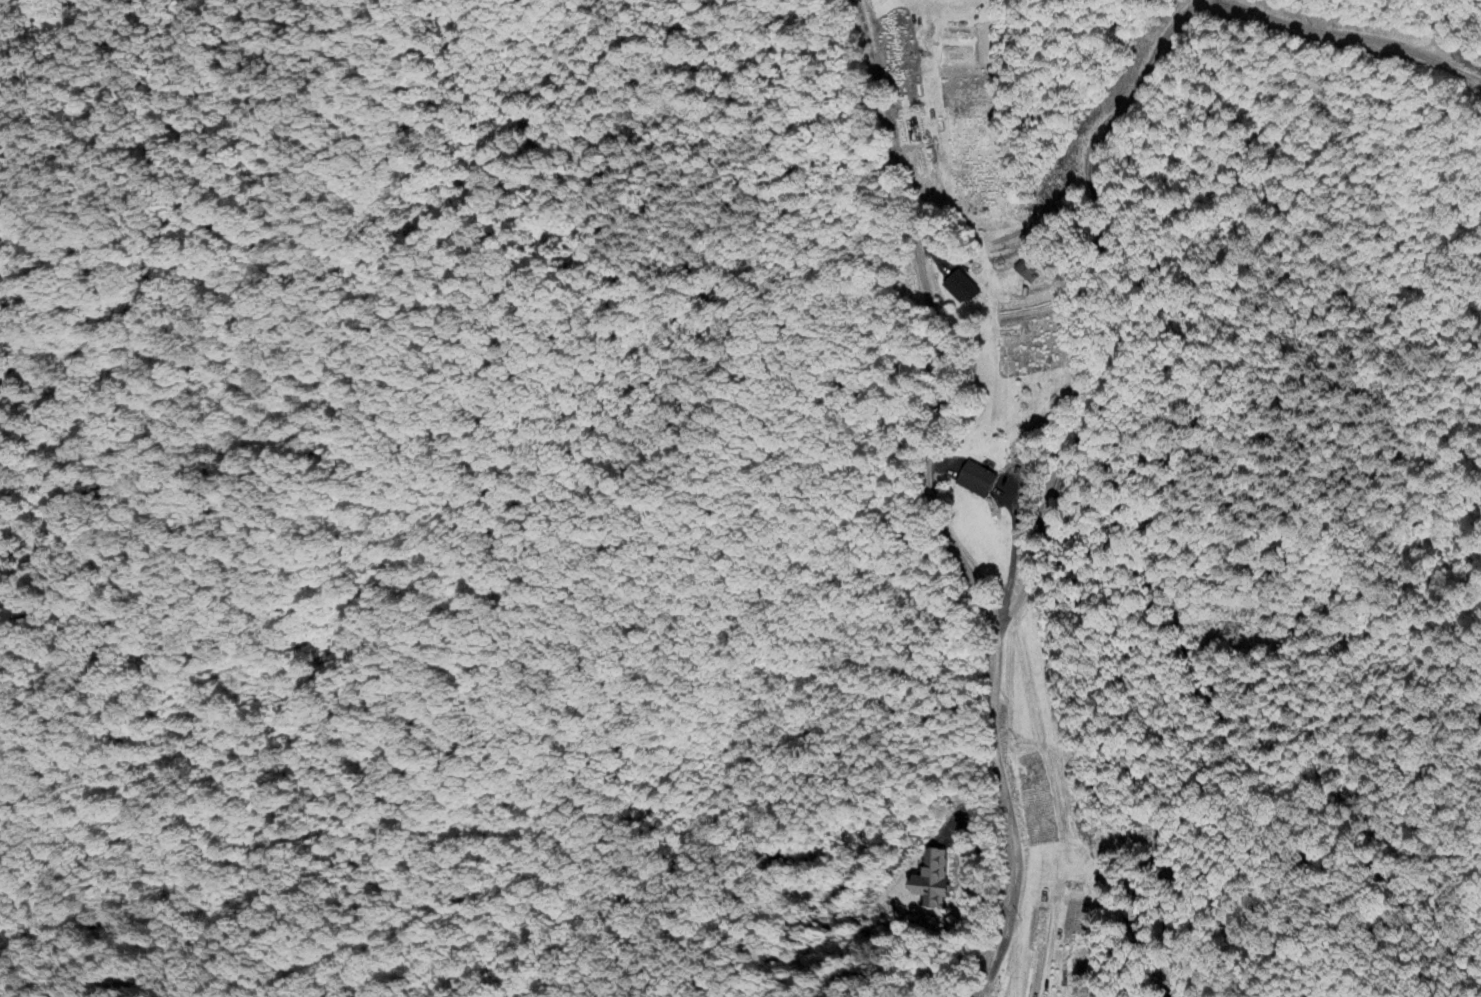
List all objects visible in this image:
building: (963, 290)
building: (979, 480)
road: (935, 501)
building: (936, 881)

